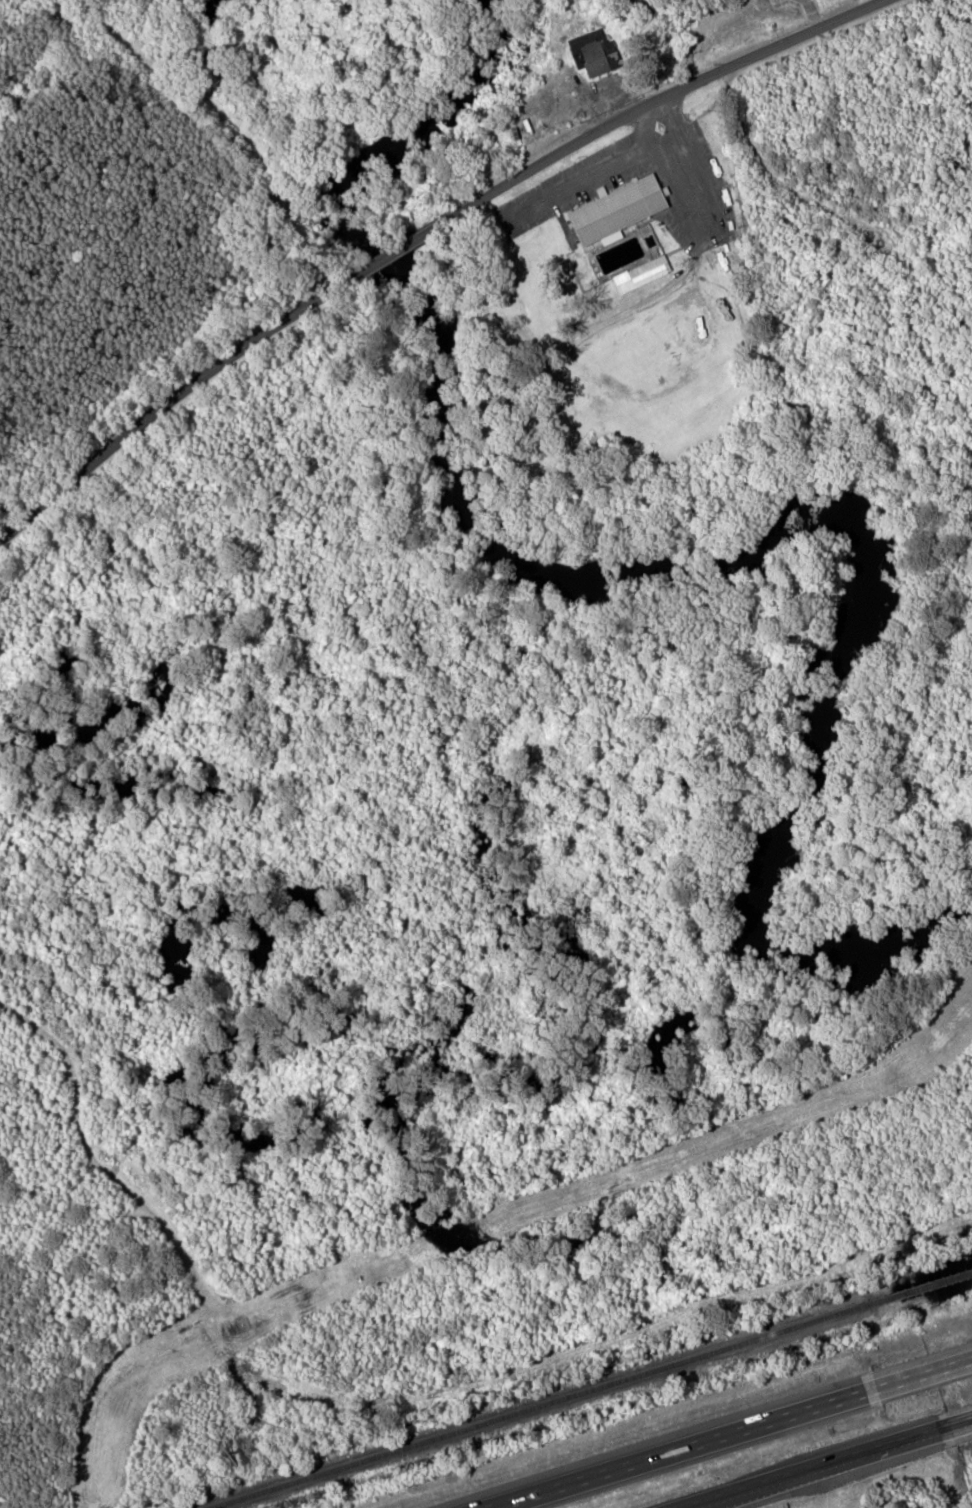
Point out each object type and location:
building: (597, 53)
building: (622, 209)
road: (418, 235)
building: (645, 273)
building: (499, 409)
river: (670, 545)
road: (921, 1375)
railway: (589, 1390)
road: (956, 1425)
road: (680, 1449)
road: (813, 1469)

